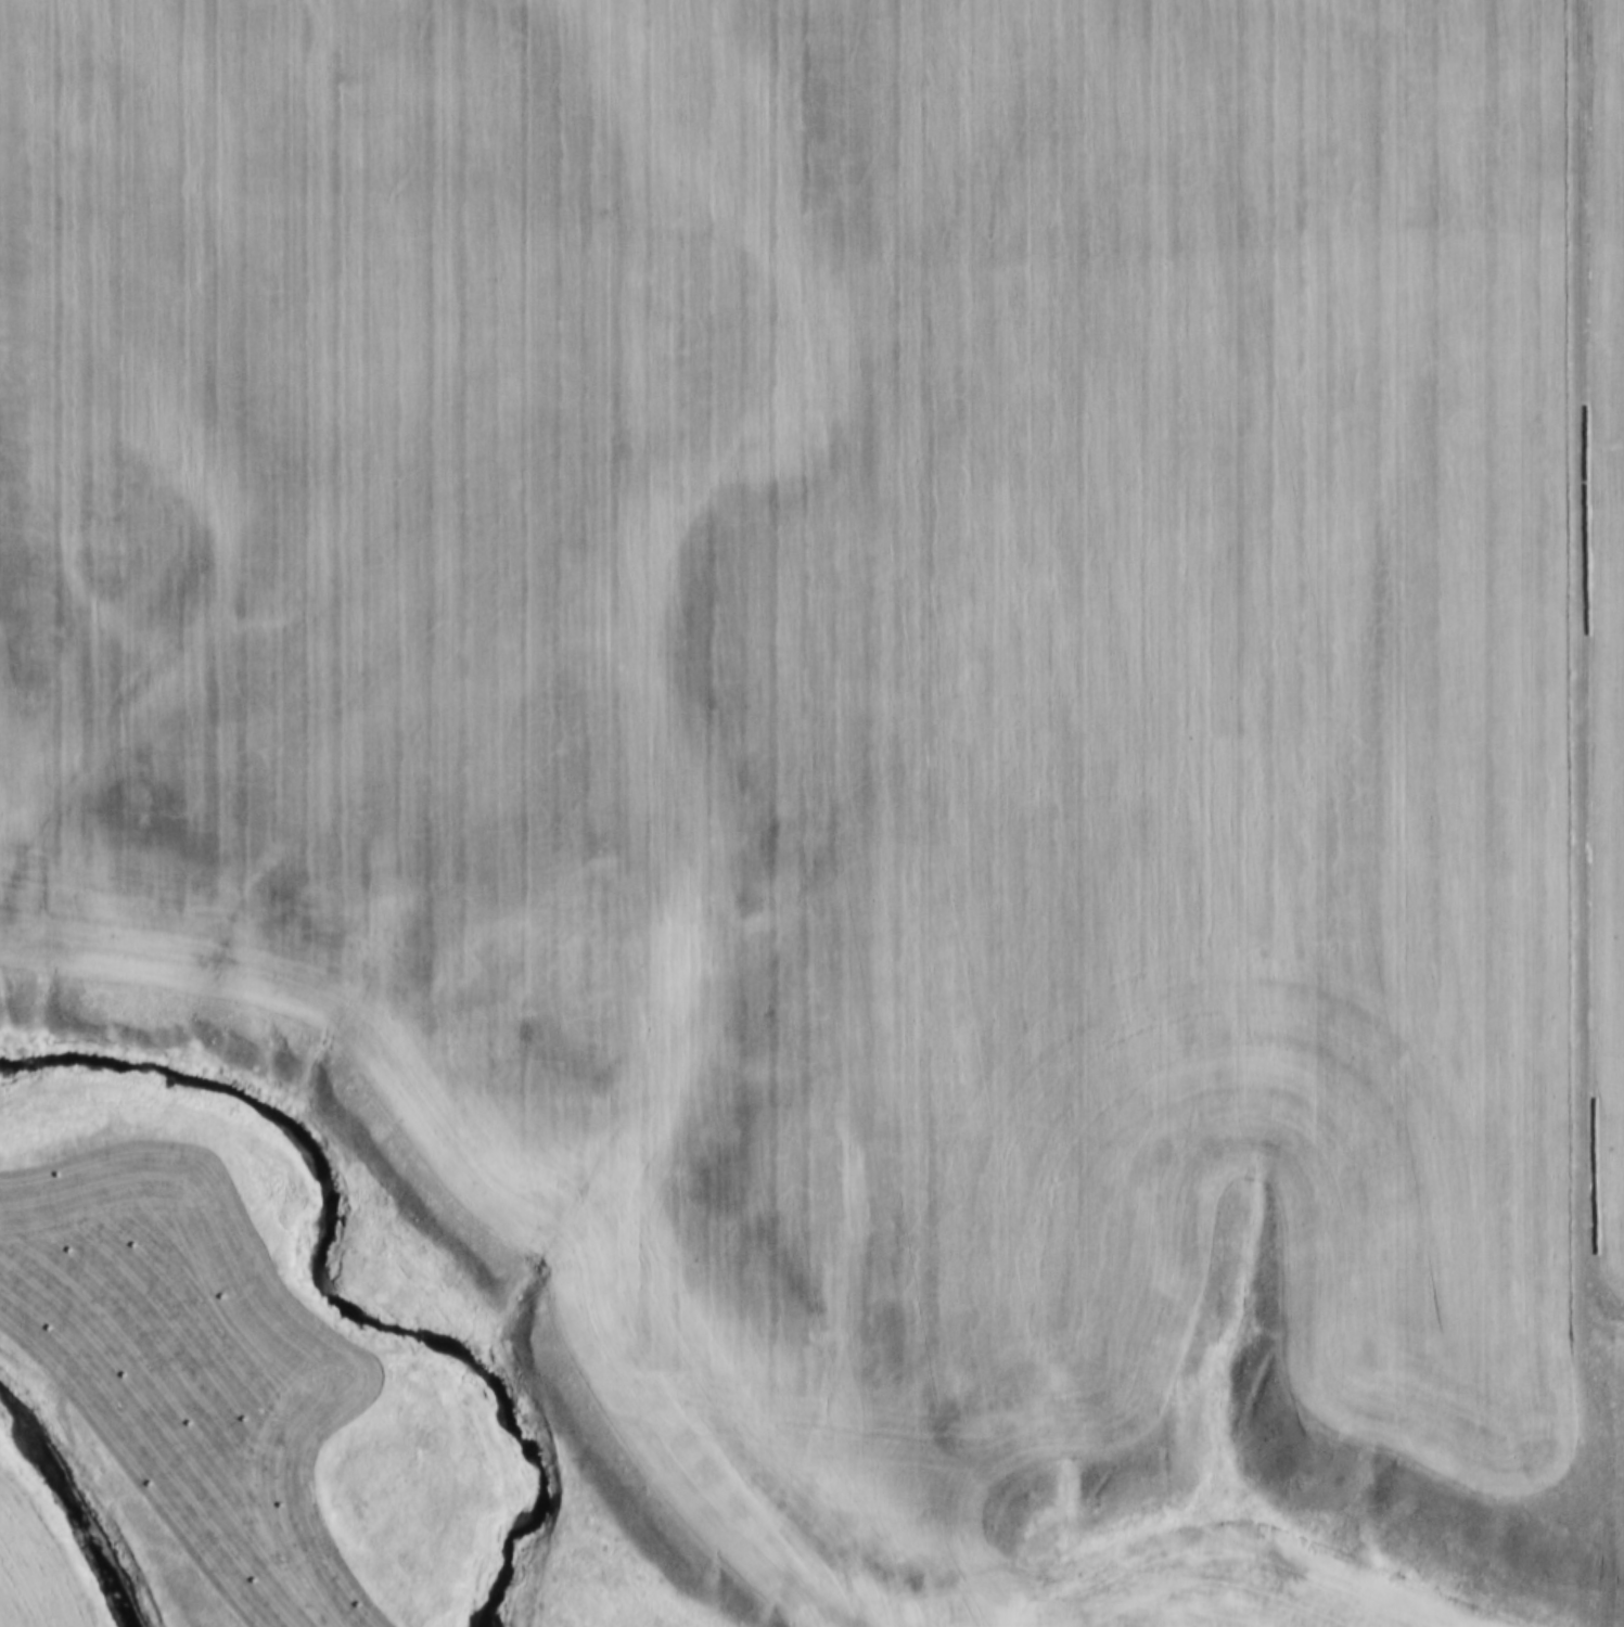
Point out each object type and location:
road: (1587, 658)
road: (1608, 1322)

